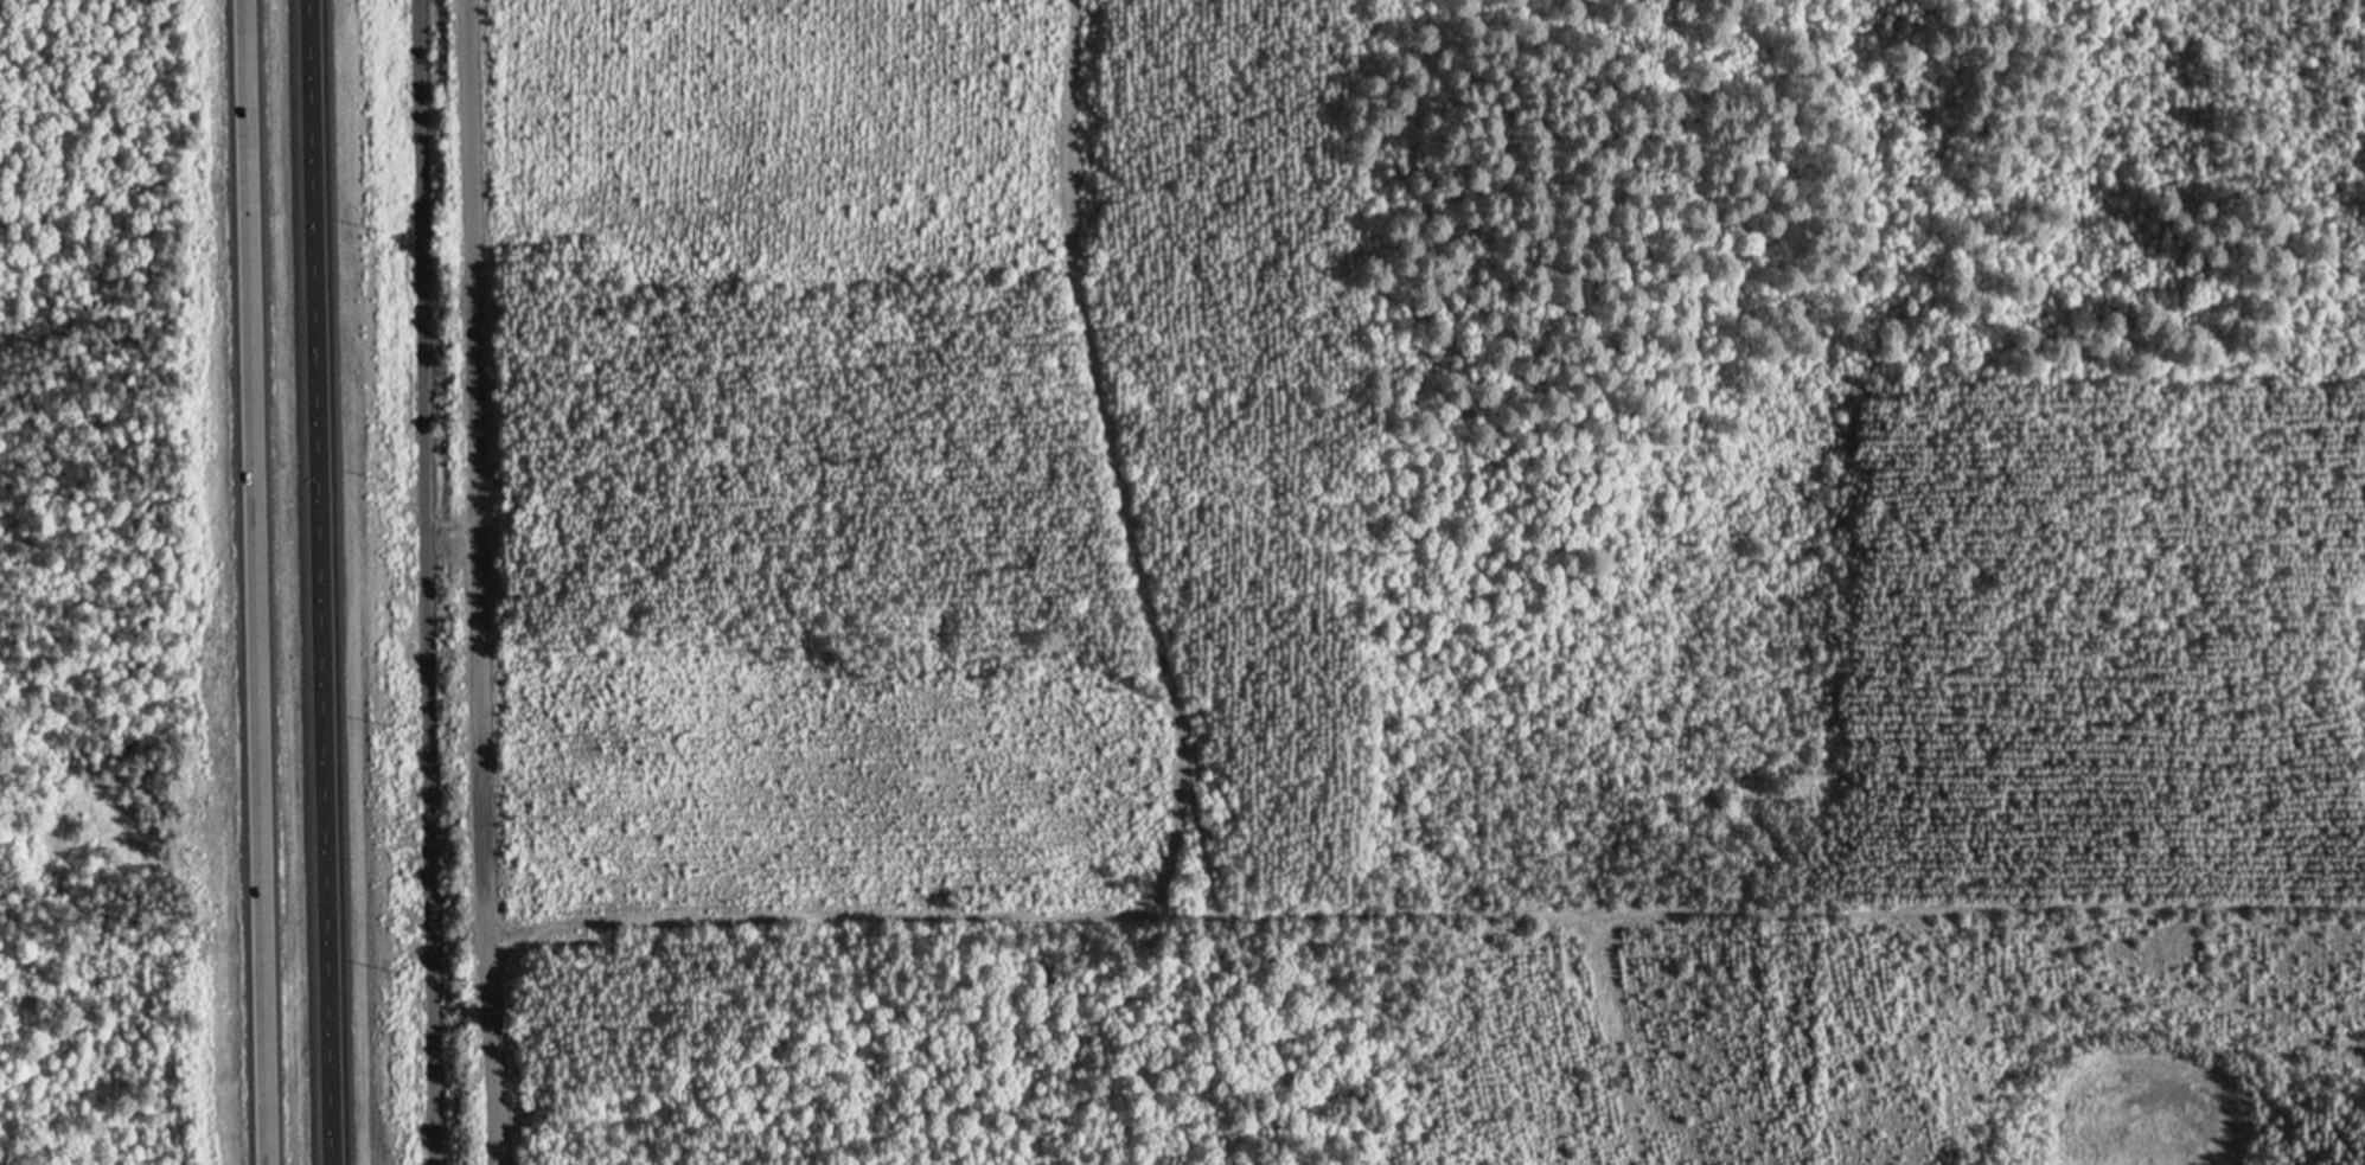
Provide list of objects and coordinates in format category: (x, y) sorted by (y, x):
road: (254, 582)
road: (318, 582)
road: (421, 582)
road: (475, 582)
road: (1424, 917)

